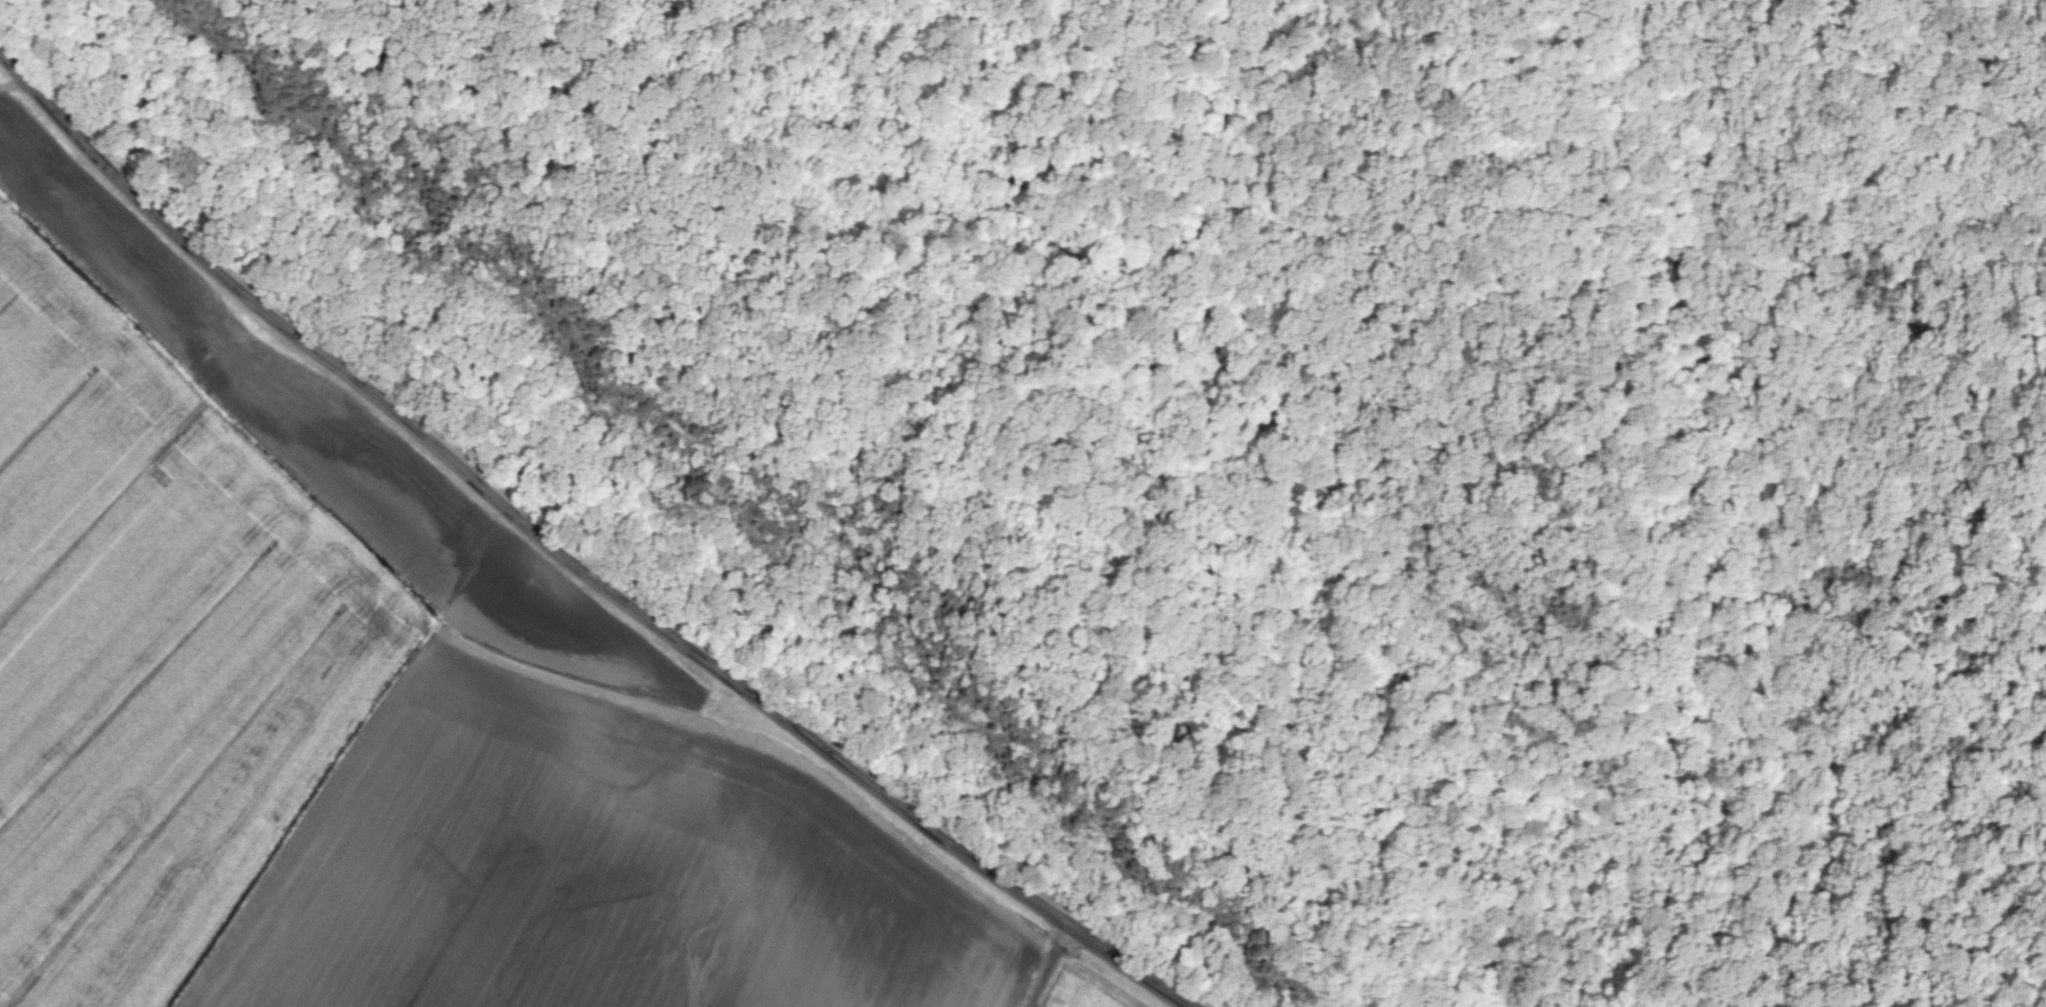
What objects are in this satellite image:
road: (1748, 509)
road: (570, 560)
road: (1047, 965)

